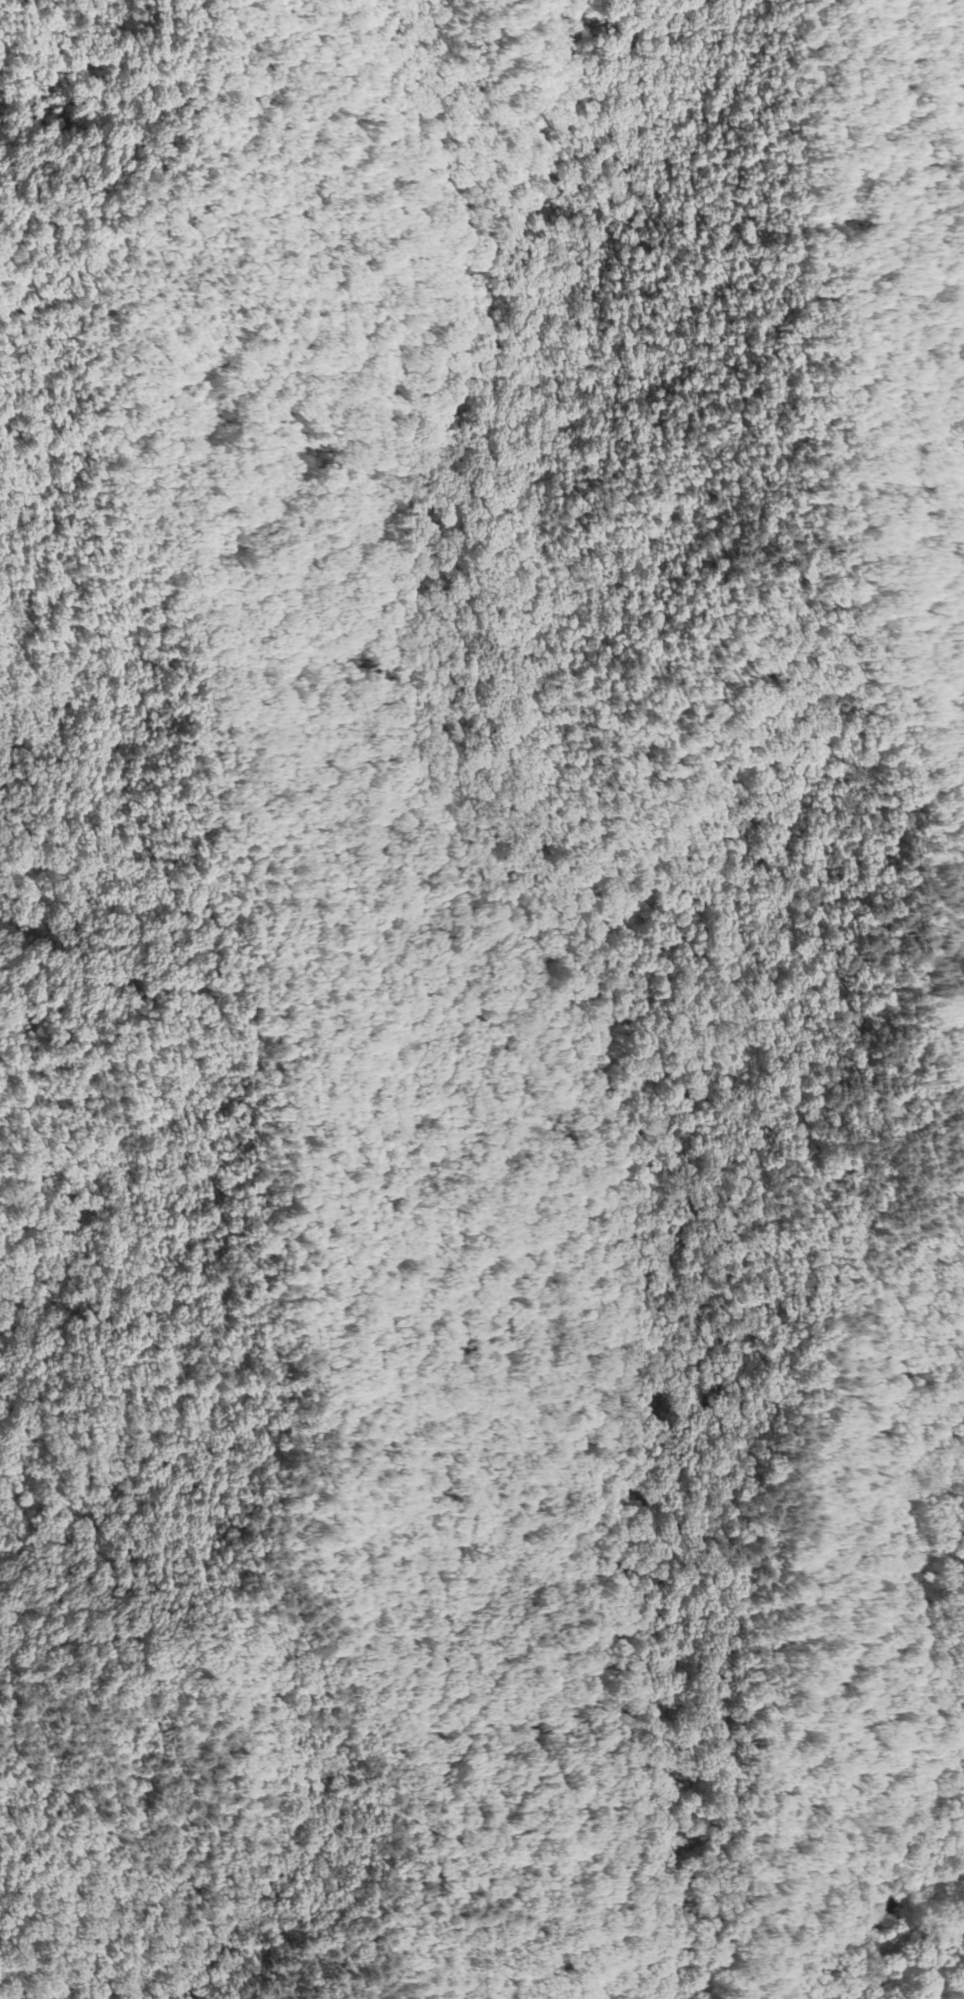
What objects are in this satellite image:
river: (890, 1906)

